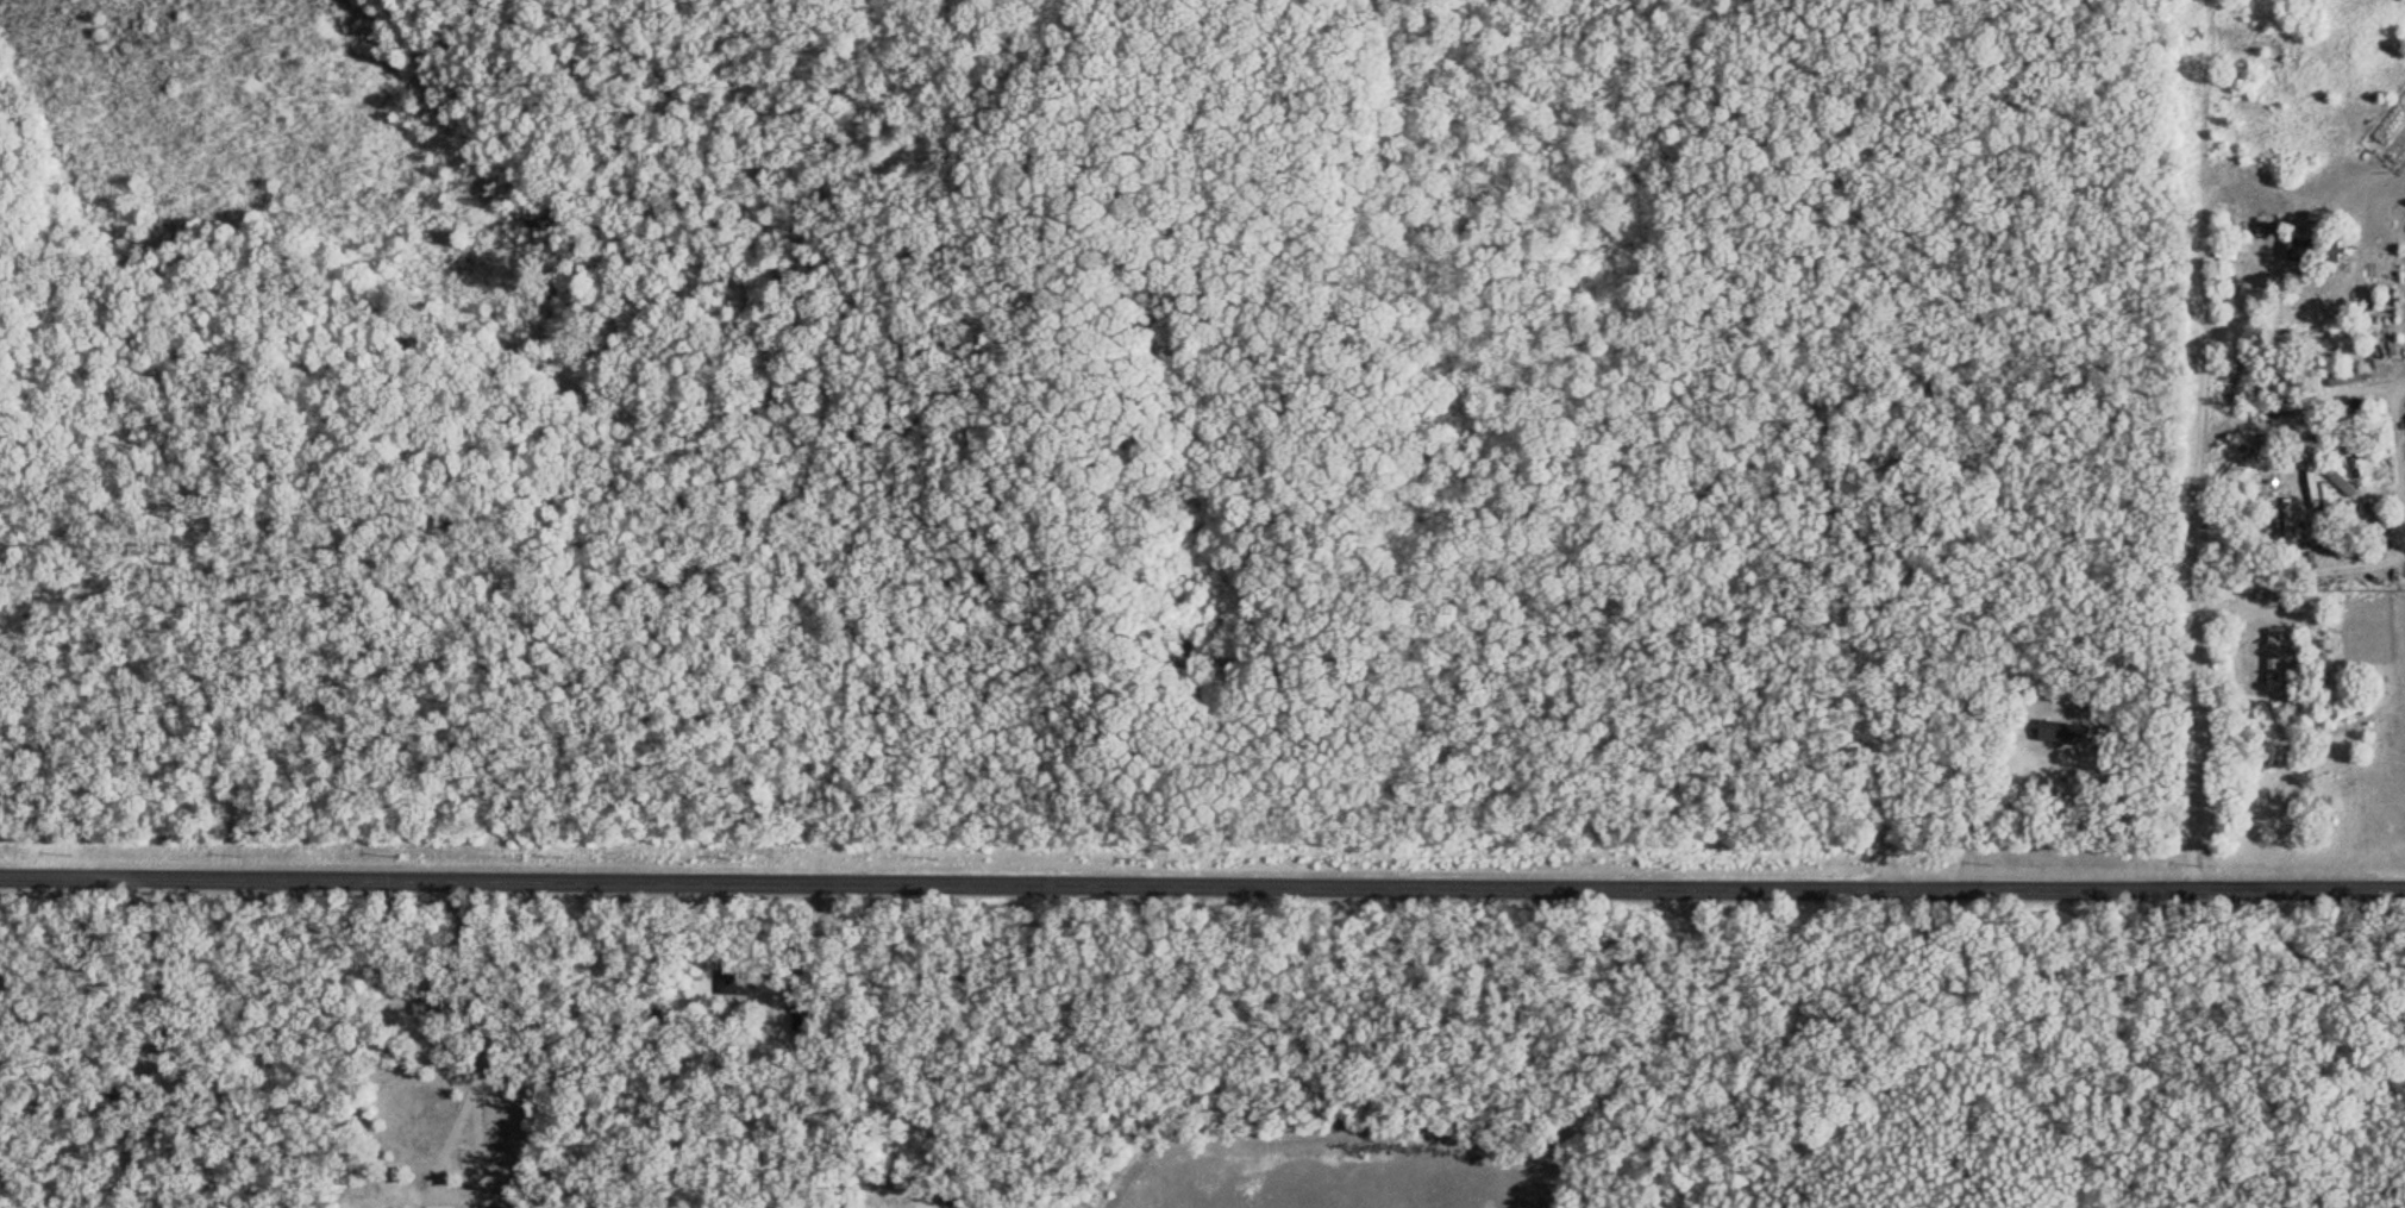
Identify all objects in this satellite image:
building: (2304, 248)
building: (2347, 376)
building: (2234, 381)
road: (1823, 383)
building: (2355, 464)
building: (2315, 486)
building: (2287, 514)
building: (2275, 658)
road: (1202, 883)
building: (430, 1007)
building: (806, 1016)

